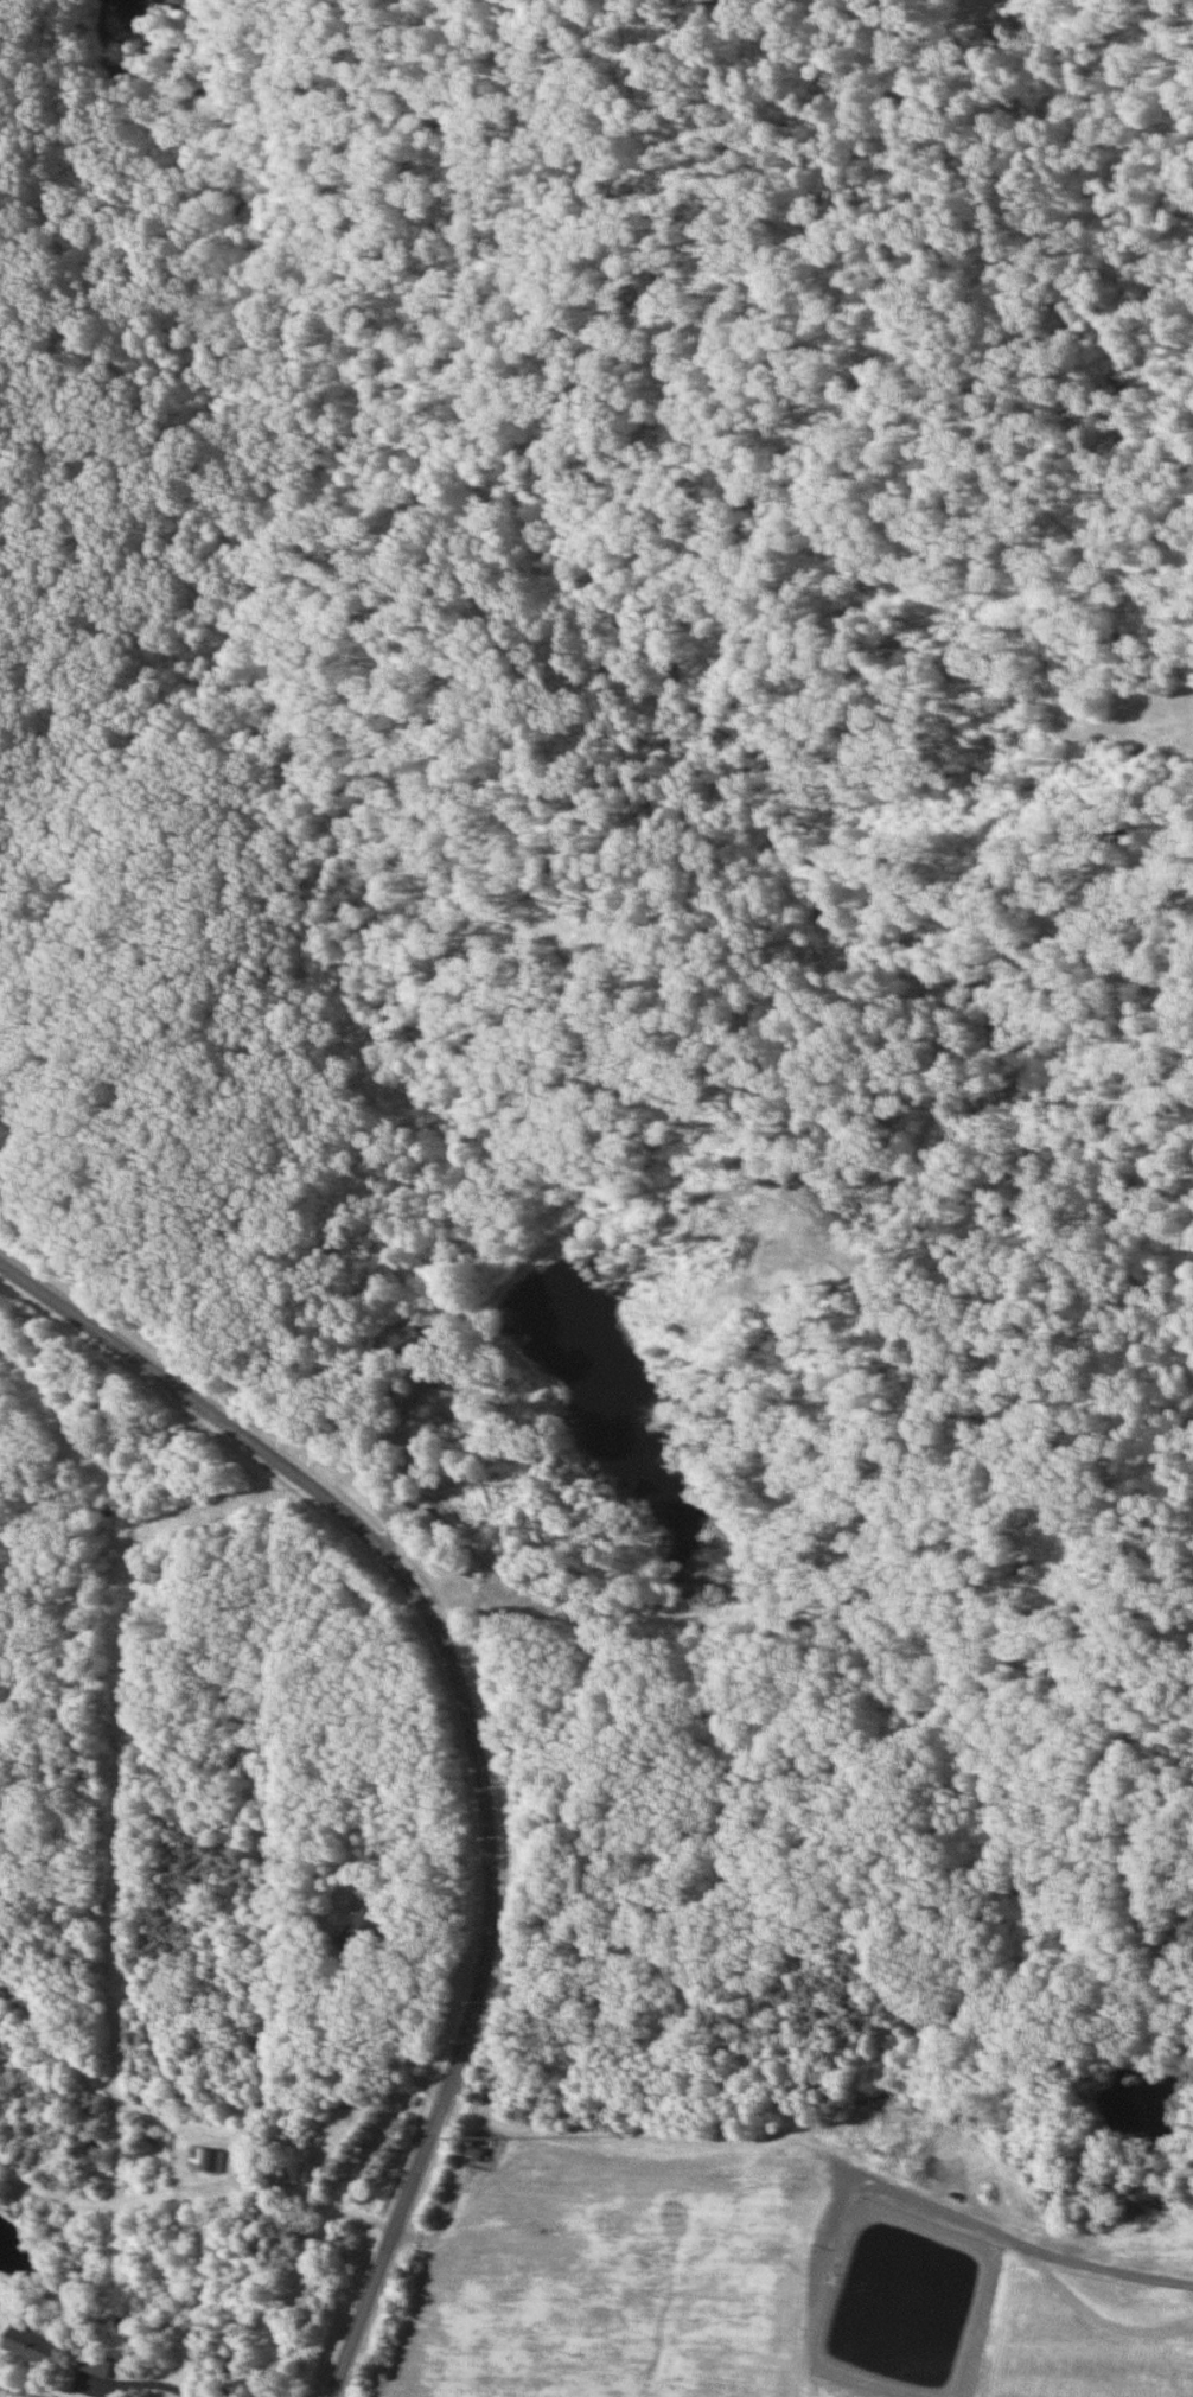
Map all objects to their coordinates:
building: (407, 1345)
road: (403, 1471)
building: (430, 1492)
building: (425, 1523)
road: (476, 1738)
building: (359, 1933)
road: (321, 2153)
building: (202, 2161)
road: (1021, 2246)
building: (27, 2345)
building: (92, 2364)
road: (127, 2384)

